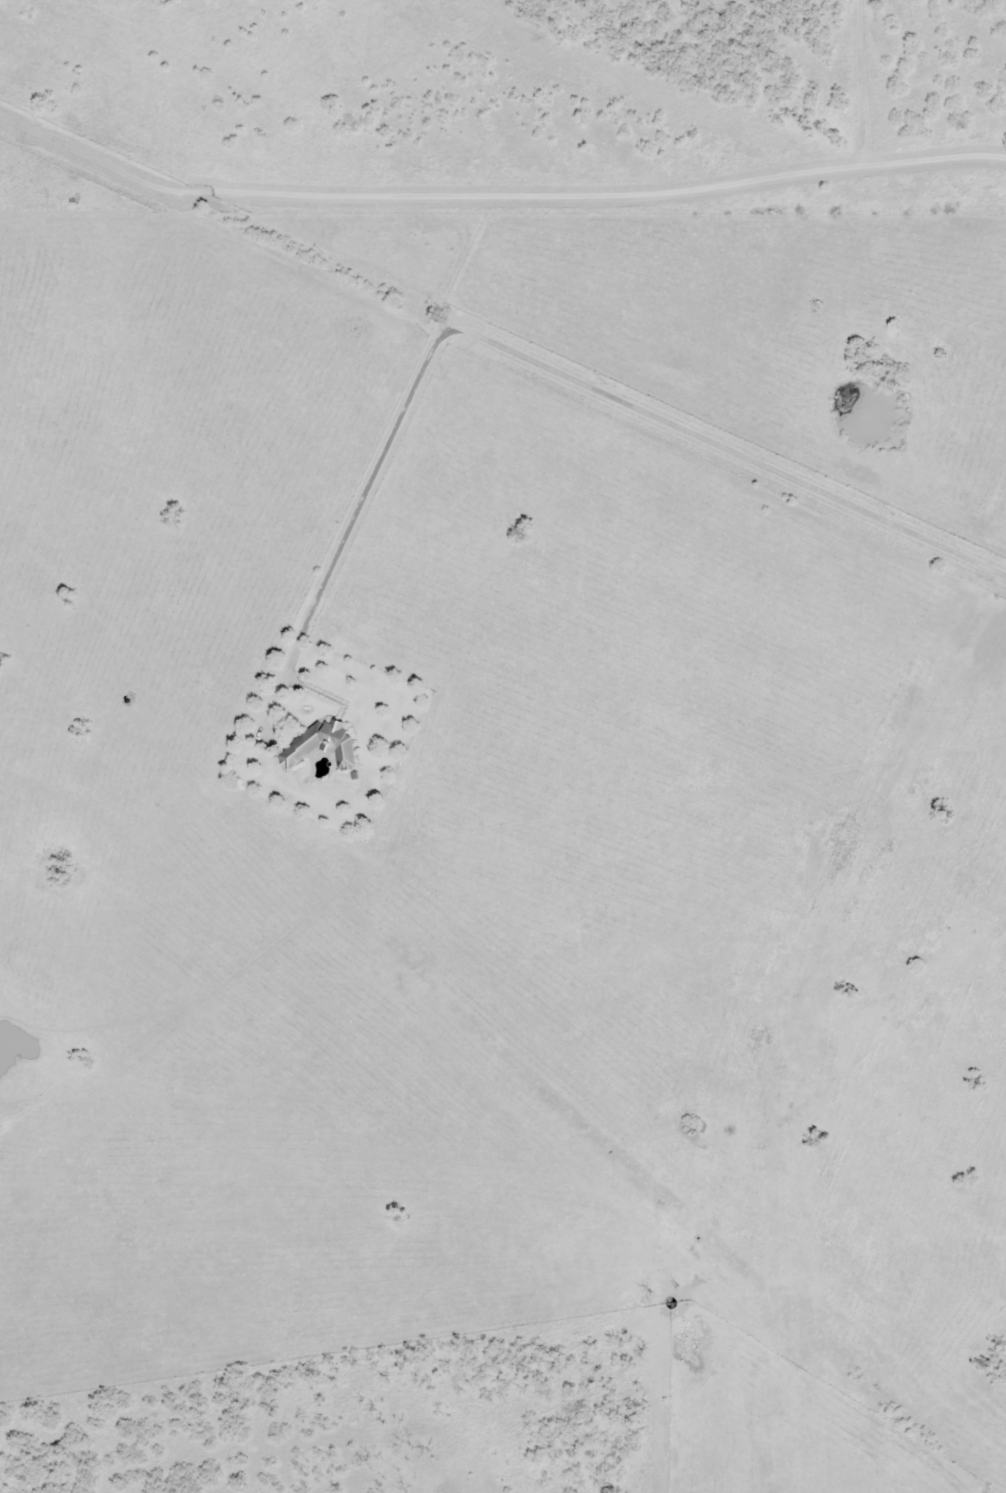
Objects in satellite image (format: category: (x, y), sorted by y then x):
road: (867, 242)
road: (501, 321)
building: (299, 747)
road: (503, 1253)

